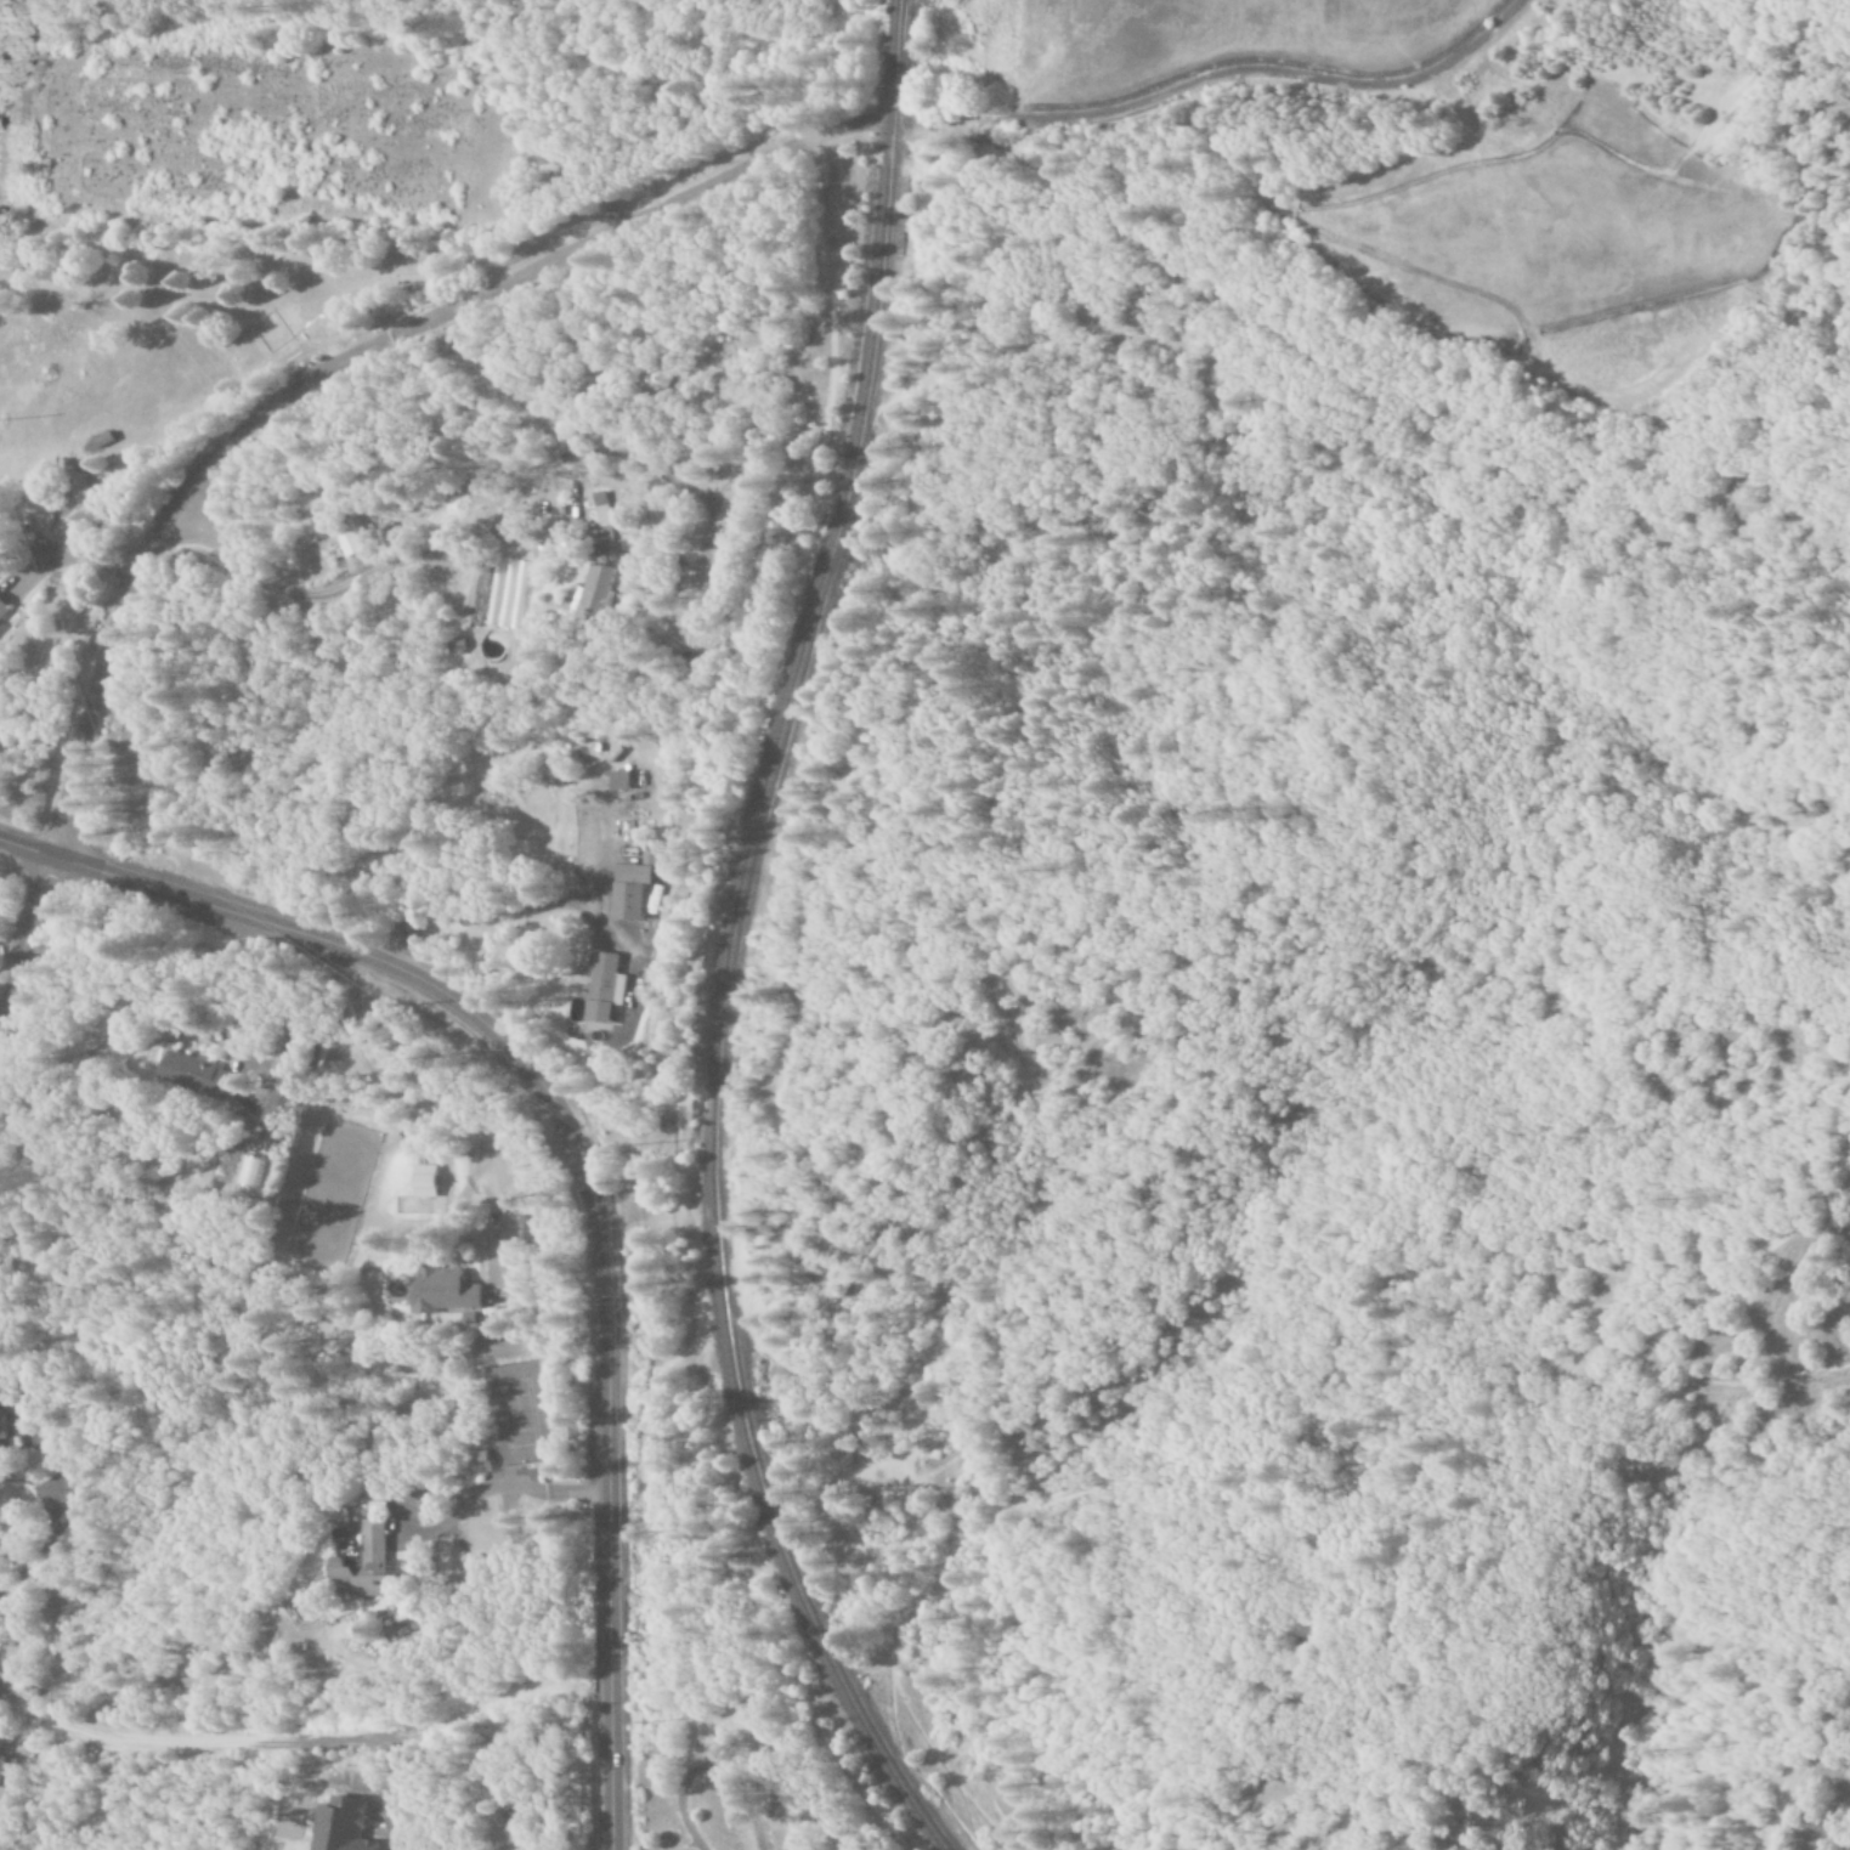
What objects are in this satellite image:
road: (635, 216)
building: (111, 445)
building: (81, 497)
building: (604, 528)
building: (355, 541)
building: (595, 594)
building: (5, 610)
building: (623, 780)
building: (650, 854)
building: (633, 890)
road: (24, 932)
railway: (726, 940)
building: (609, 986)
building: (200, 1076)
building: (282, 1108)
road: (579, 1162)
building: (428, 1181)
building: (449, 1291)
building: (10, 1427)
building: (377, 1566)
road: (300, 1737)
building: (5, 1771)
building: (345, 1826)

